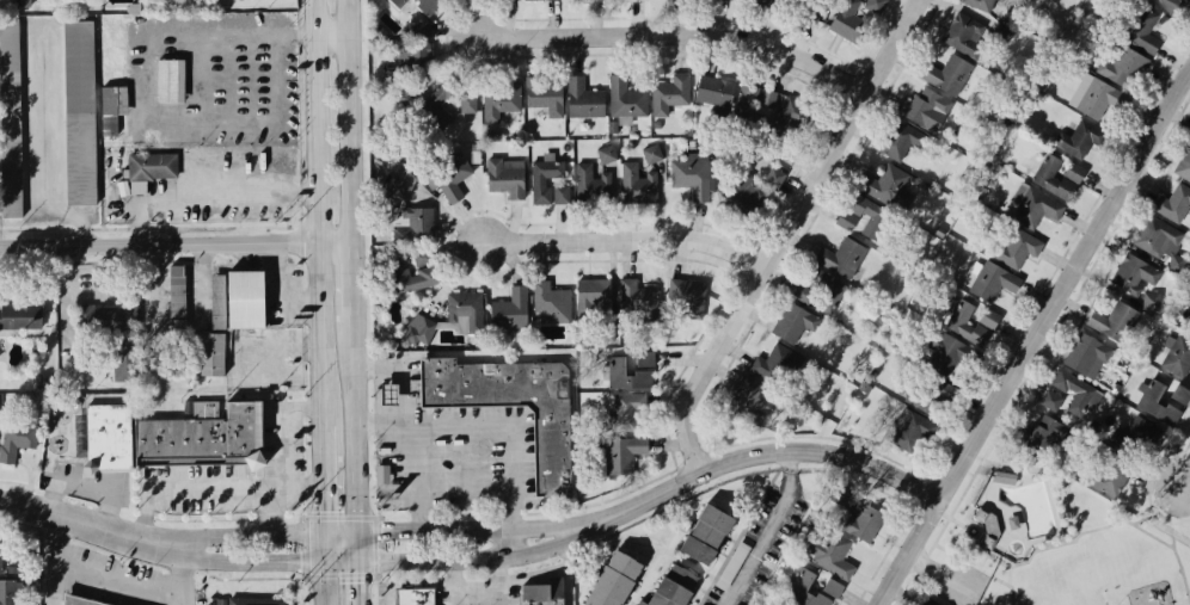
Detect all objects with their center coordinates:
building: (458, 0)
building: (539, 0)
building: (595, 0)
building: (639, 0)
building: (674, 0)
building: (772, 0)
building: (1010, 0)
building: (553, 1)
building: (809, 2)
building: (26, 4)
building: (416, 6)
building: (980, 6)
building: (877, 7)
building: (1177, 8)
building: (851, 20)
road: (685, 35)
road: (333, 37)
building: (968, 39)
building: (1130, 51)
building: (412, 56)
building: (947, 76)
building: (172, 84)
building: (670, 95)
building: (714, 95)
building: (544, 98)
building: (400, 99)
building: (583, 101)
building: (626, 101)
building: (1097, 101)
building: (499, 103)
building: (110, 104)
building: (759, 104)
building: (468, 105)
building: (438, 107)
building: (925, 109)
building: (78, 116)
building: (795, 118)
road: (351, 121)
building: (10, 122)
building: (1082, 142)
building: (903, 144)
road: (44, 148)
building: (651, 158)
building: (1185, 167)
building: (153, 168)
building: (450, 179)
building: (505, 179)
building: (779, 179)
building: (1057, 179)
building: (693, 180)
building: (550, 185)
building: (637, 186)
building: (888, 186)
building: (591, 189)
building: (754, 191)
road: (211, 197)
building: (1176, 206)
building: (1036, 210)
road: (318, 212)
building: (866, 221)
building: (413, 228)
road: (785, 231)
road: (626, 242)
road: (176, 243)
building: (1161, 245)
building: (1016, 251)
building: (842, 260)
building: (413, 273)
building: (1134, 276)
road: (354, 279)
building: (993, 283)
building: (820, 292)
building: (595, 296)
building: (687, 296)
building: (176, 301)
building: (245, 301)
building: (638, 301)
building: (552, 303)
building: (1153, 304)
building: (510, 311)
building: (465, 313)
building: (20, 319)
building: (106, 321)
building: (1115, 322)
building: (793, 325)
building: (971, 325)
road: (1056, 332)
building: (418, 334)
building: (214, 337)
road: (1035, 338)
building: (945, 356)
building: (1176, 357)
building: (1087, 358)
building: (774, 366)
road: (404, 371)
building: (631, 372)
building: (930, 396)
building: (1066, 397)
building: (746, 400)
building: (1164, 403)
building: (513, 408)
building: (627, 413)
road: (485, 421)
building: (909, 433)
building: (204, 437)
building: (1044, 437)
building: (108, 438)
road: (356, 439)
building: (1141, 439)
building: (16, 442)
road: (289, 449)
road: (1178, 451)
road: (755, 455)
building: (622, 457)
road: (417, 476)
building: (1111, 476)
road: (258, 477)
road: (321, 479)
road: (1186, 479)
building: (1008, 481)
road: (1154, 484)
road: (202, 490)
road: (82, 492)
road: (1185, 507)
road: (1158, 512)
road: (950, 517)
road: (1146, 519)
road: (92, 521)
building: (860, 521)
road: (973, 525)
road: (545, 526)
building: (987, 529)
road: (436, 530)
road: (769, 531)
traffic signals: (323, 533)
traffic signals: (358, 533)
road: (270, 535)
building: (706, 537)
road: (515, 542)
road: (1071, 542)
park: (1048, 543)
road: (323, 548)
building: (0, 555)
building: (830, 556)
road: (976, 557)
road: (470, 558)
road: (1179, 558)
road: (981, 561)
road: (250, 562)
traffic signals: (324, 562)
road: (341, 562)
traffic signals: (358, 562)
road: (981, 569)
road: (184, 574)
road: (944, 576)
road: (94, 578)
building: (613, 580)
road: (502, 581)
parking lot: (962, 582)
road: (324, 584)
road: (358, 584)
building: (803, 584)
road: (55, 586)
building: (673, 587)
building: (7, 593)
road: (464, 594)
building: (542, 594)
building: (415, 598)
road: (988, 600)
building: (256, 603)

